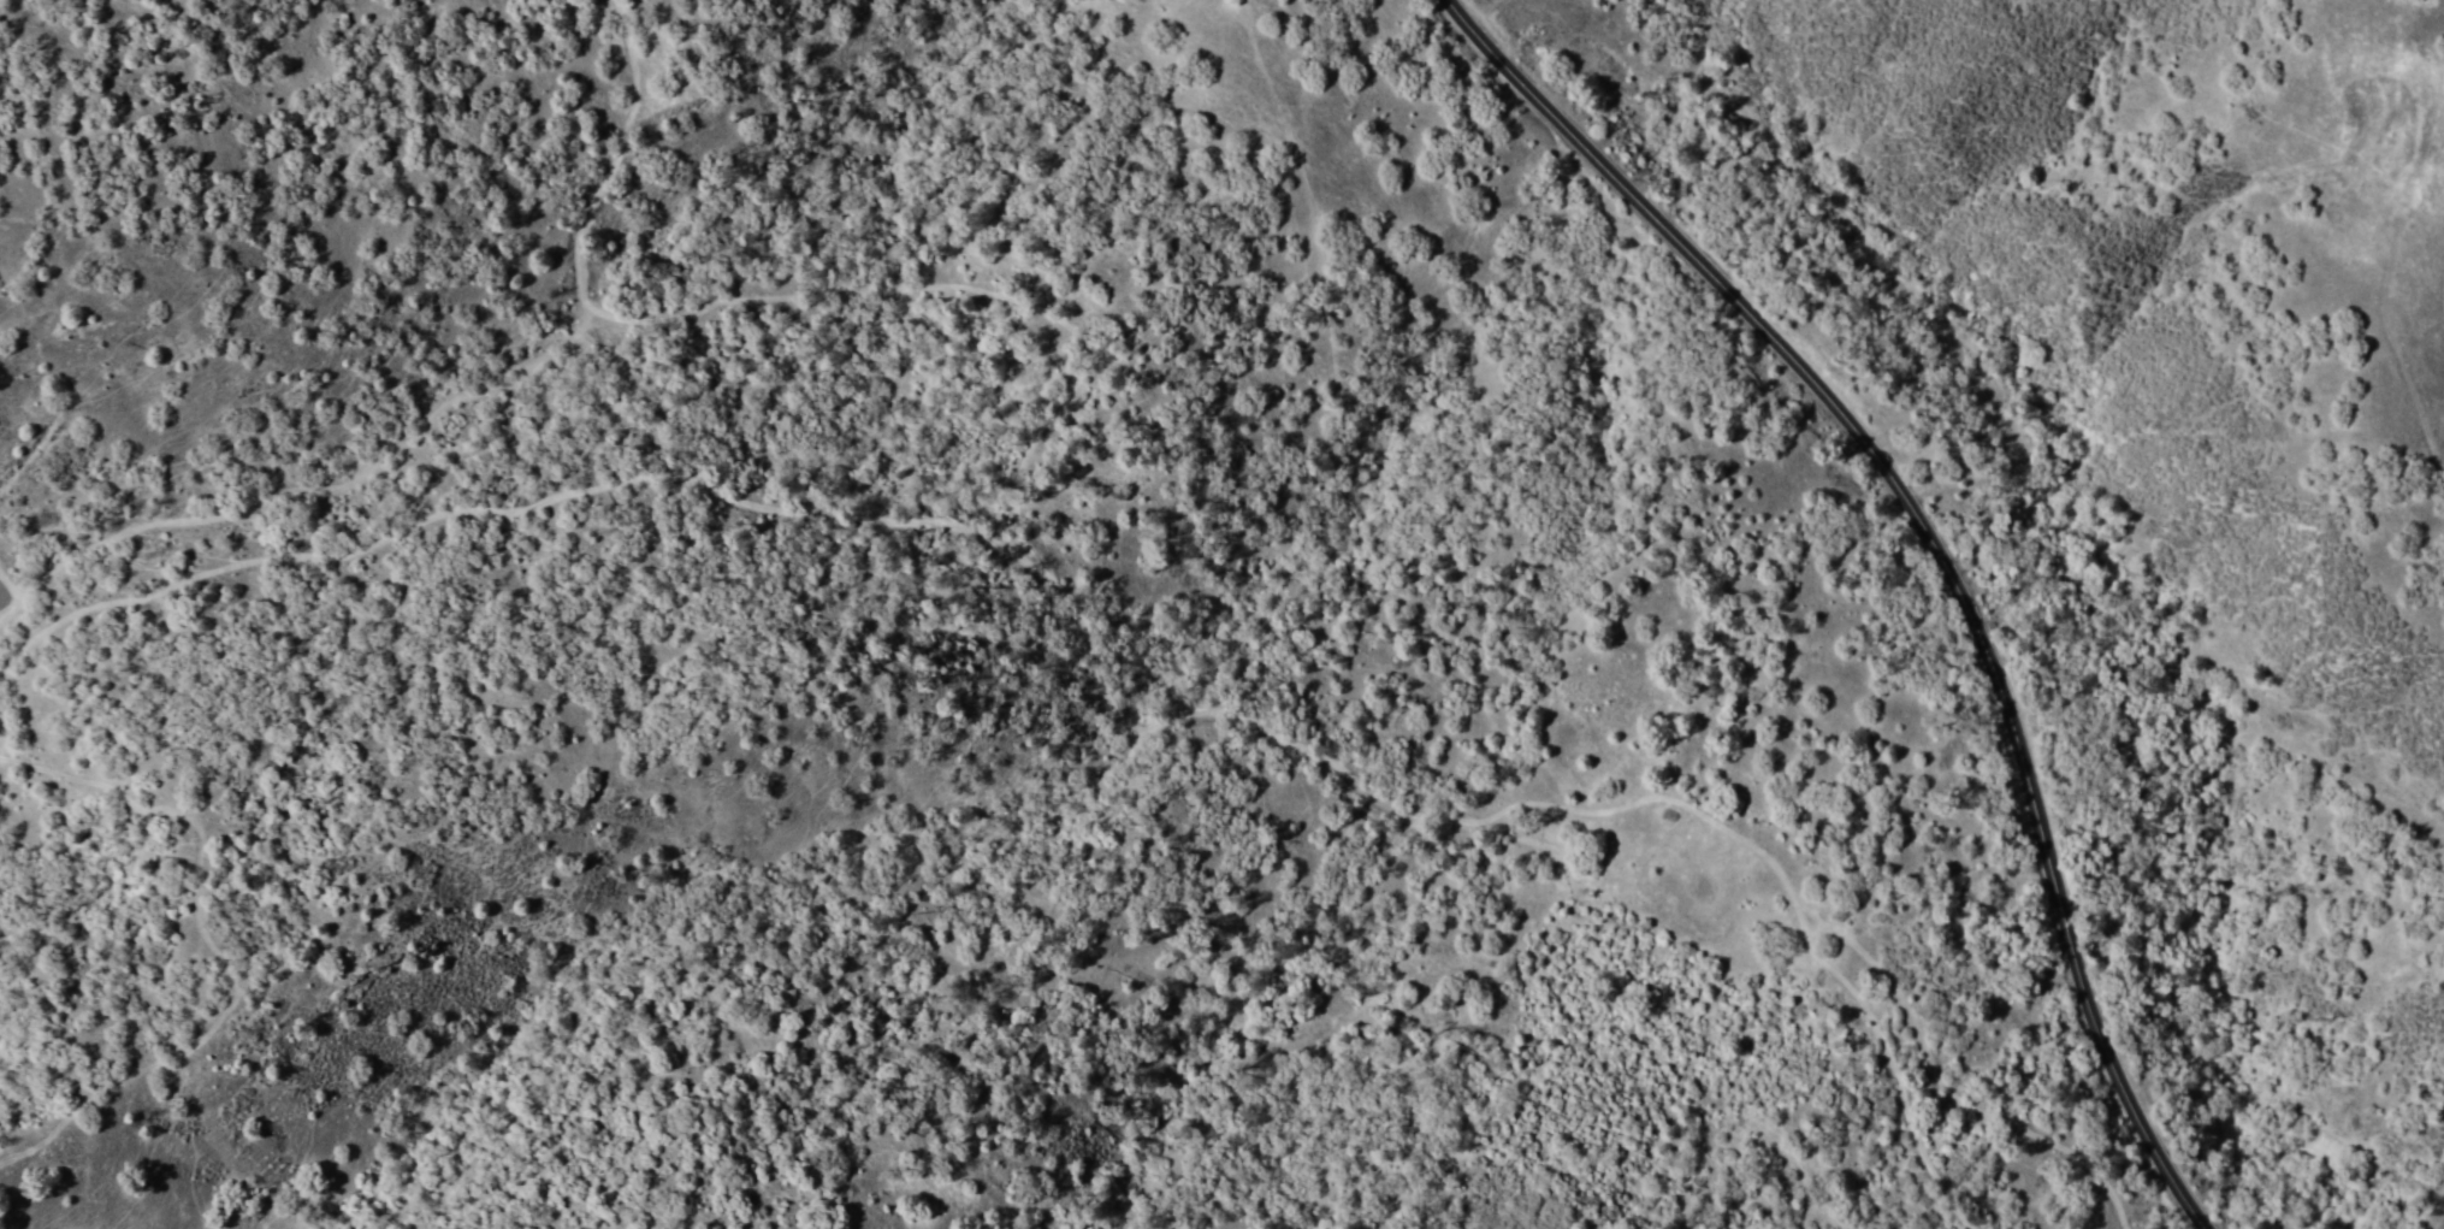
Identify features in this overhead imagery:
road: (1937, 545)
road: (1109, 708)

